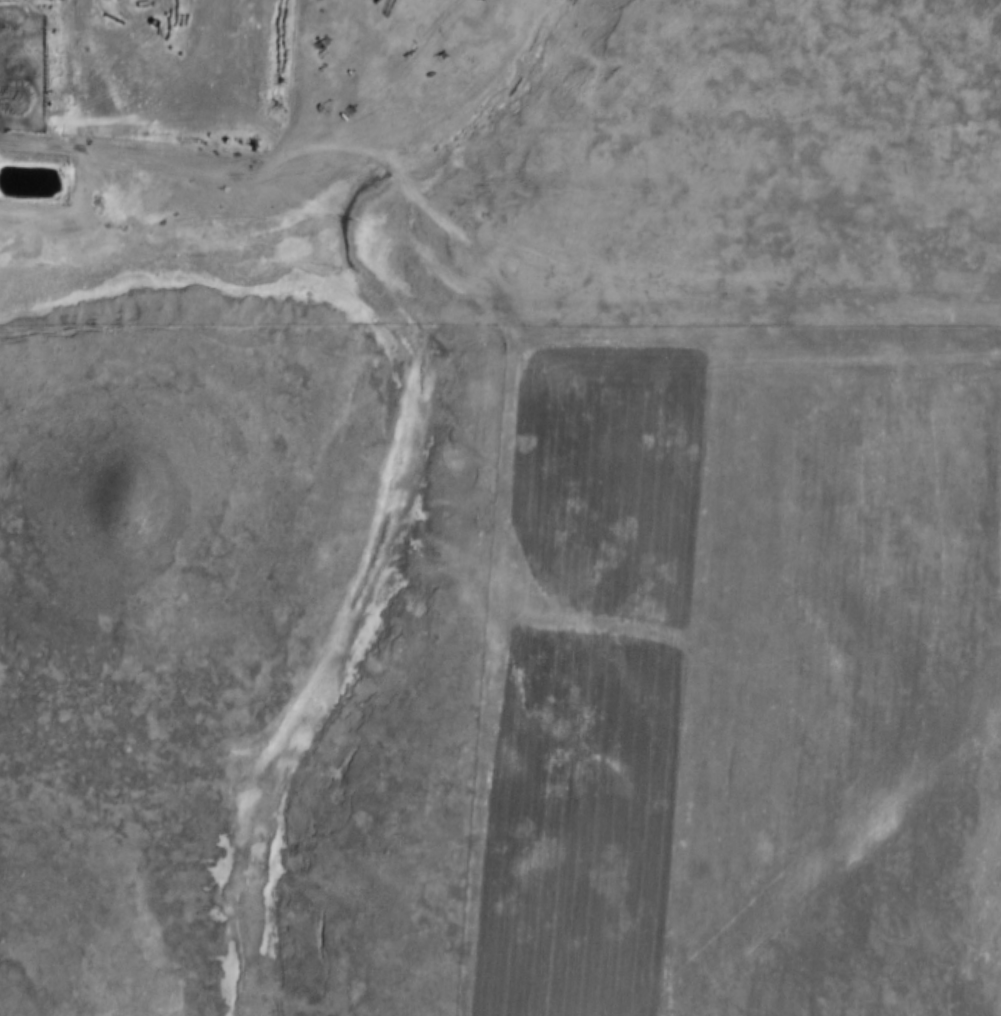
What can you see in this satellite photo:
road: (455, 286)

